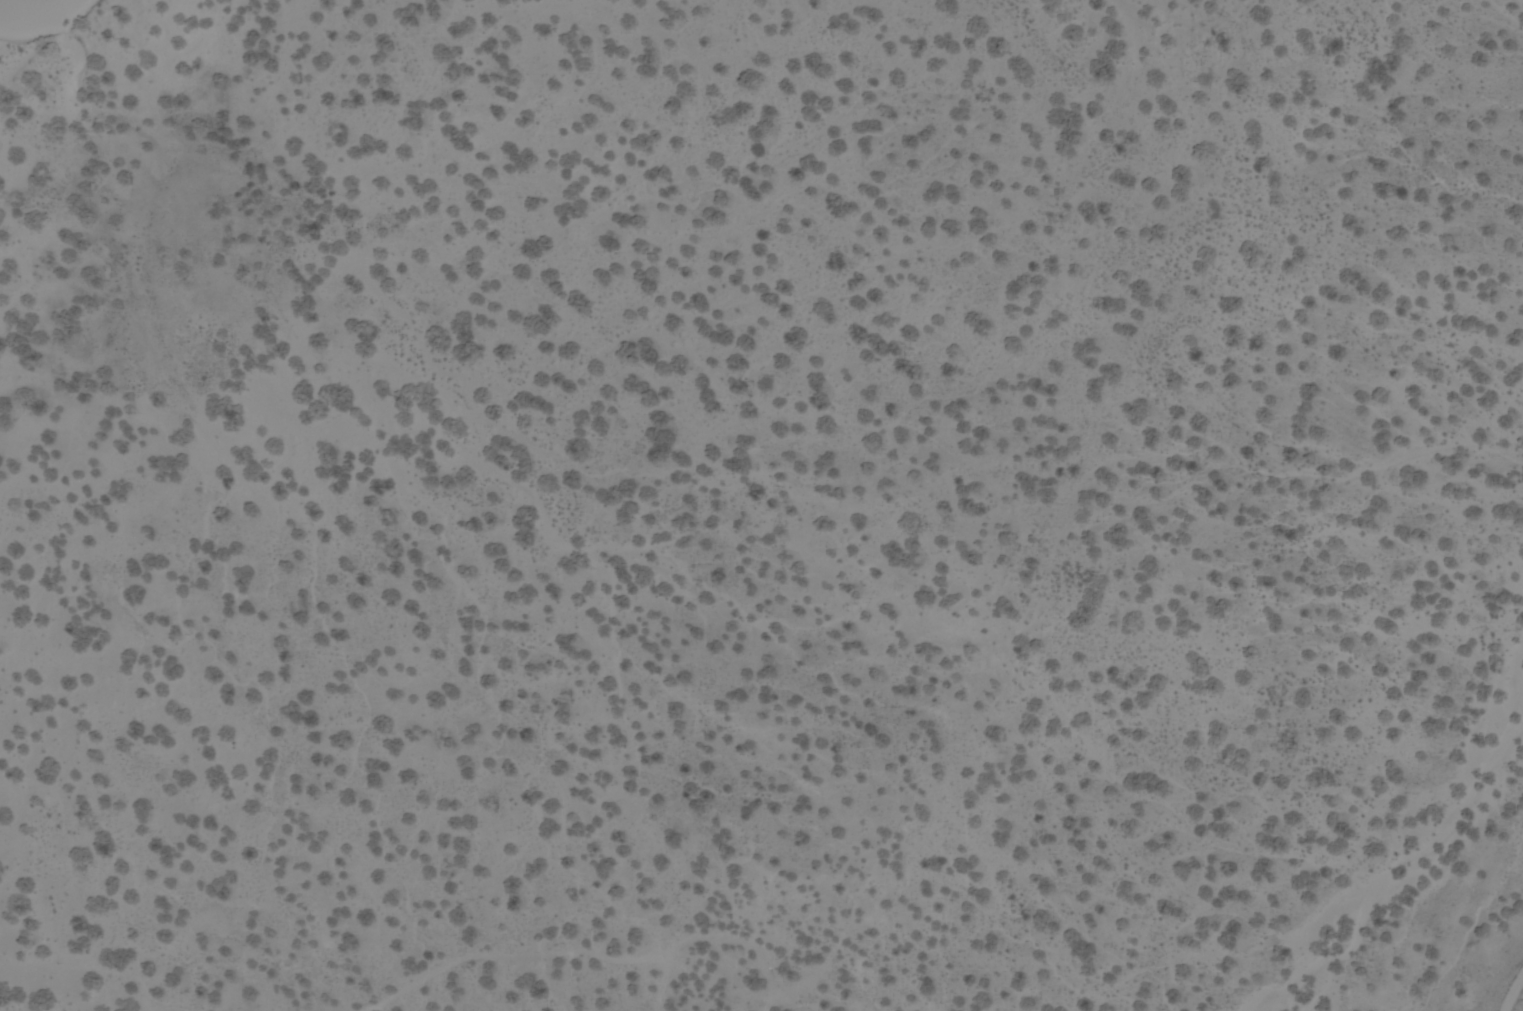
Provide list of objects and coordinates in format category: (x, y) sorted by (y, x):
road: (1513, 996)

